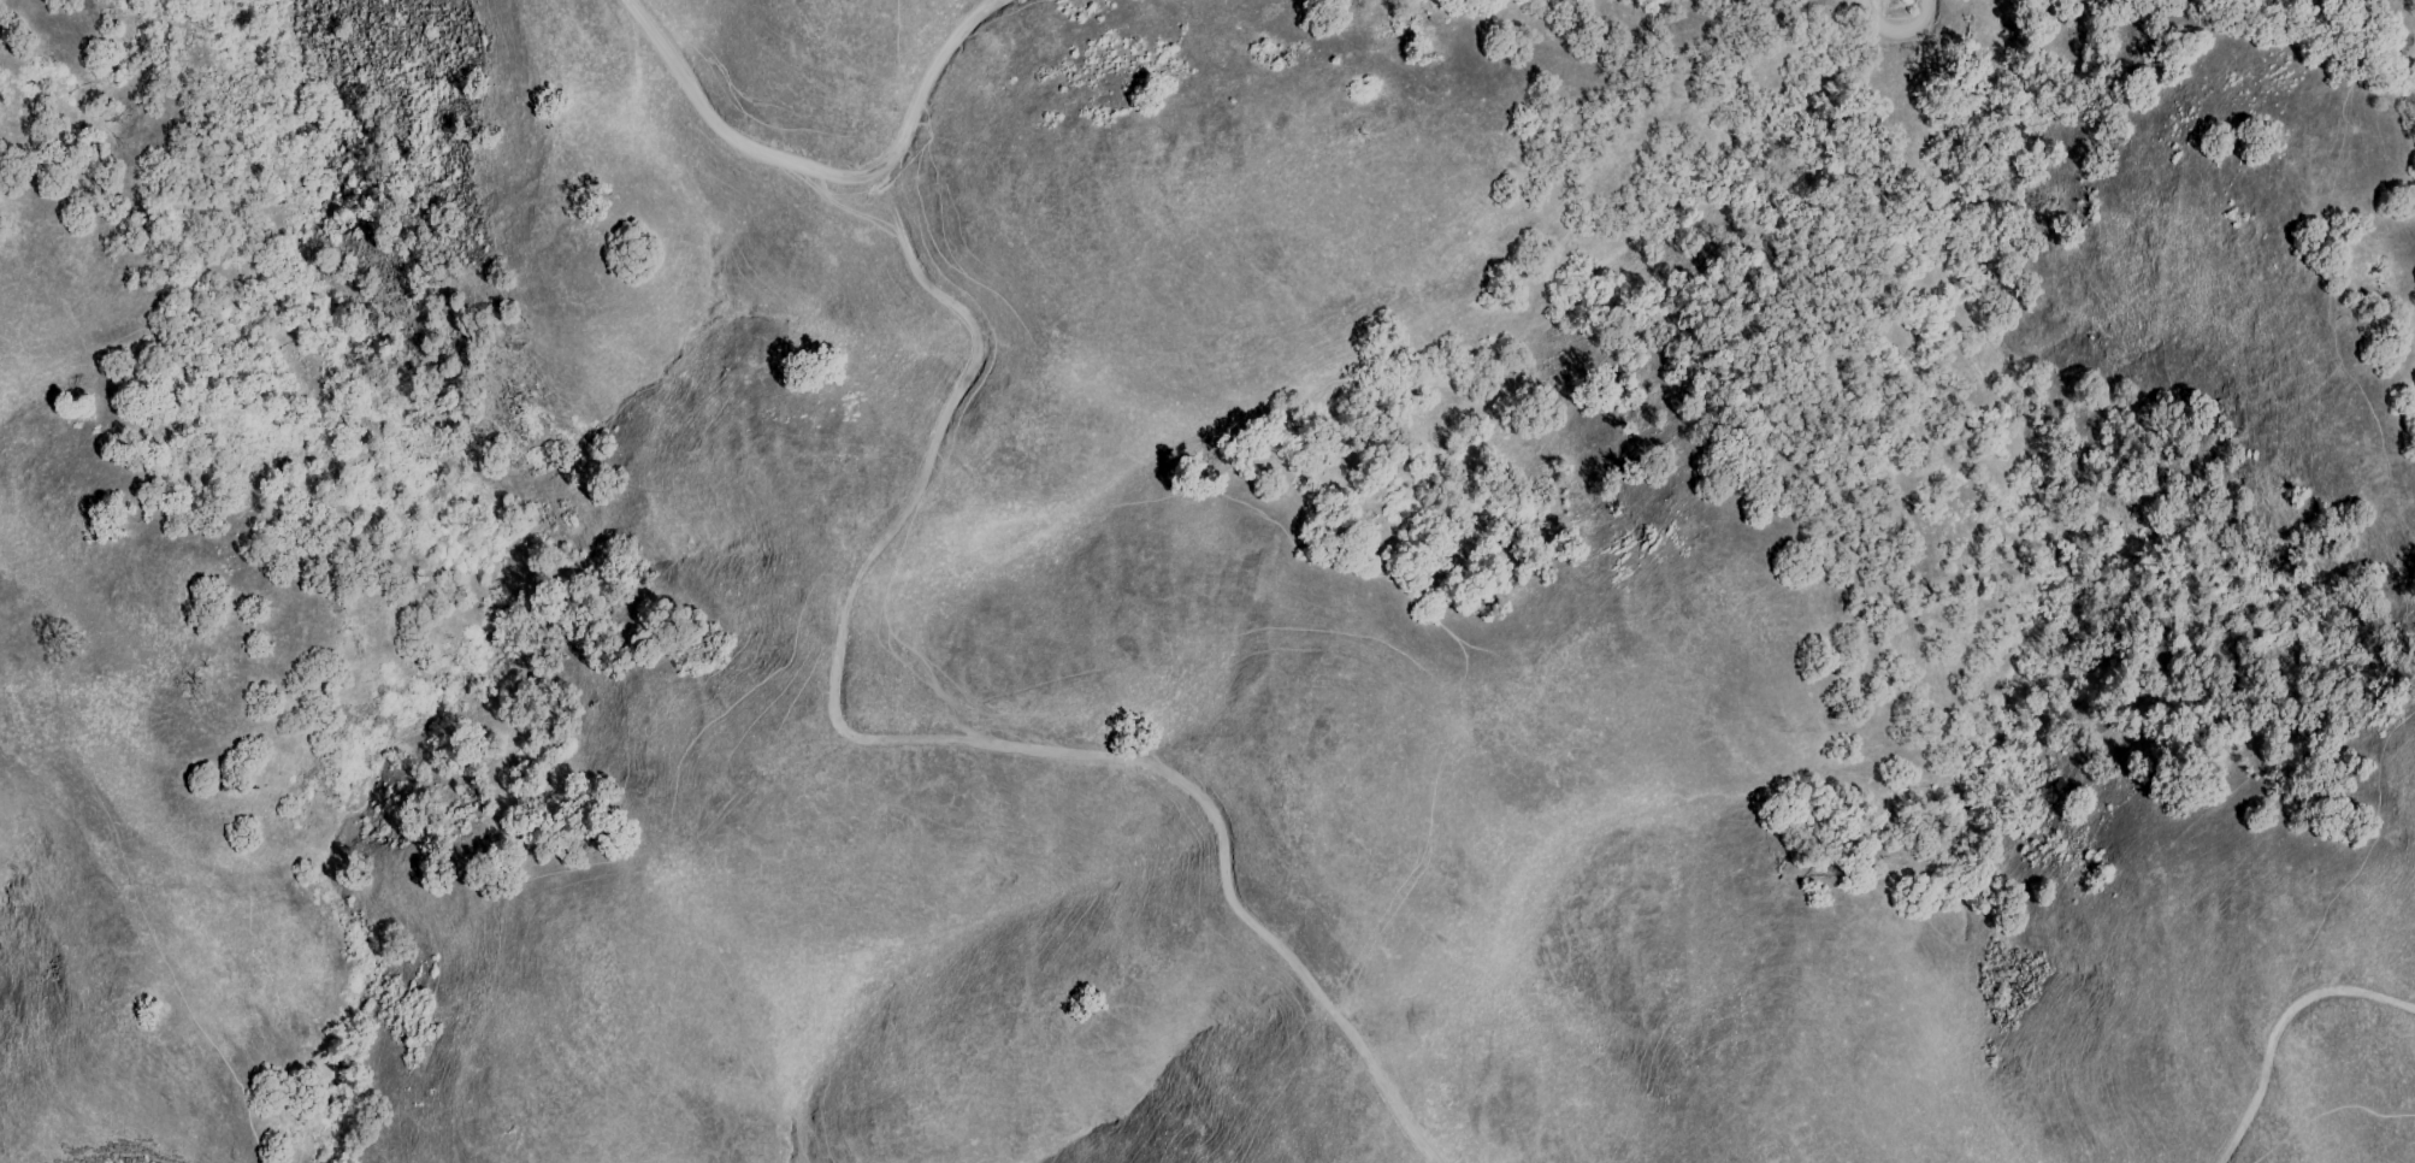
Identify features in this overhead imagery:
road: (1906, 26)
road: (941, 82)
road: (728, 137)
road: (855, 594)
road: (1297, 967)
road: (2280, 1026)

